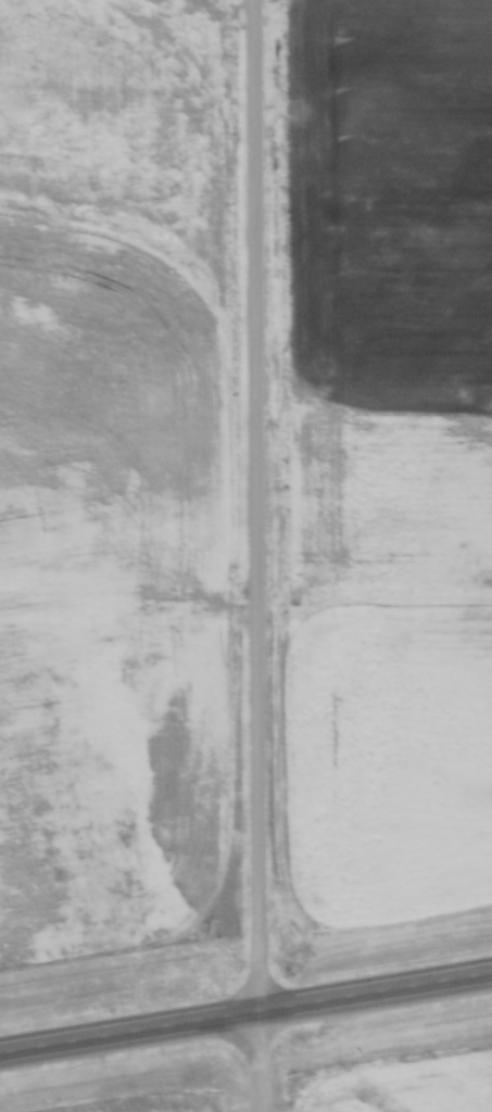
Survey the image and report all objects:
road: (256, 556)
road: (245, 1011)

